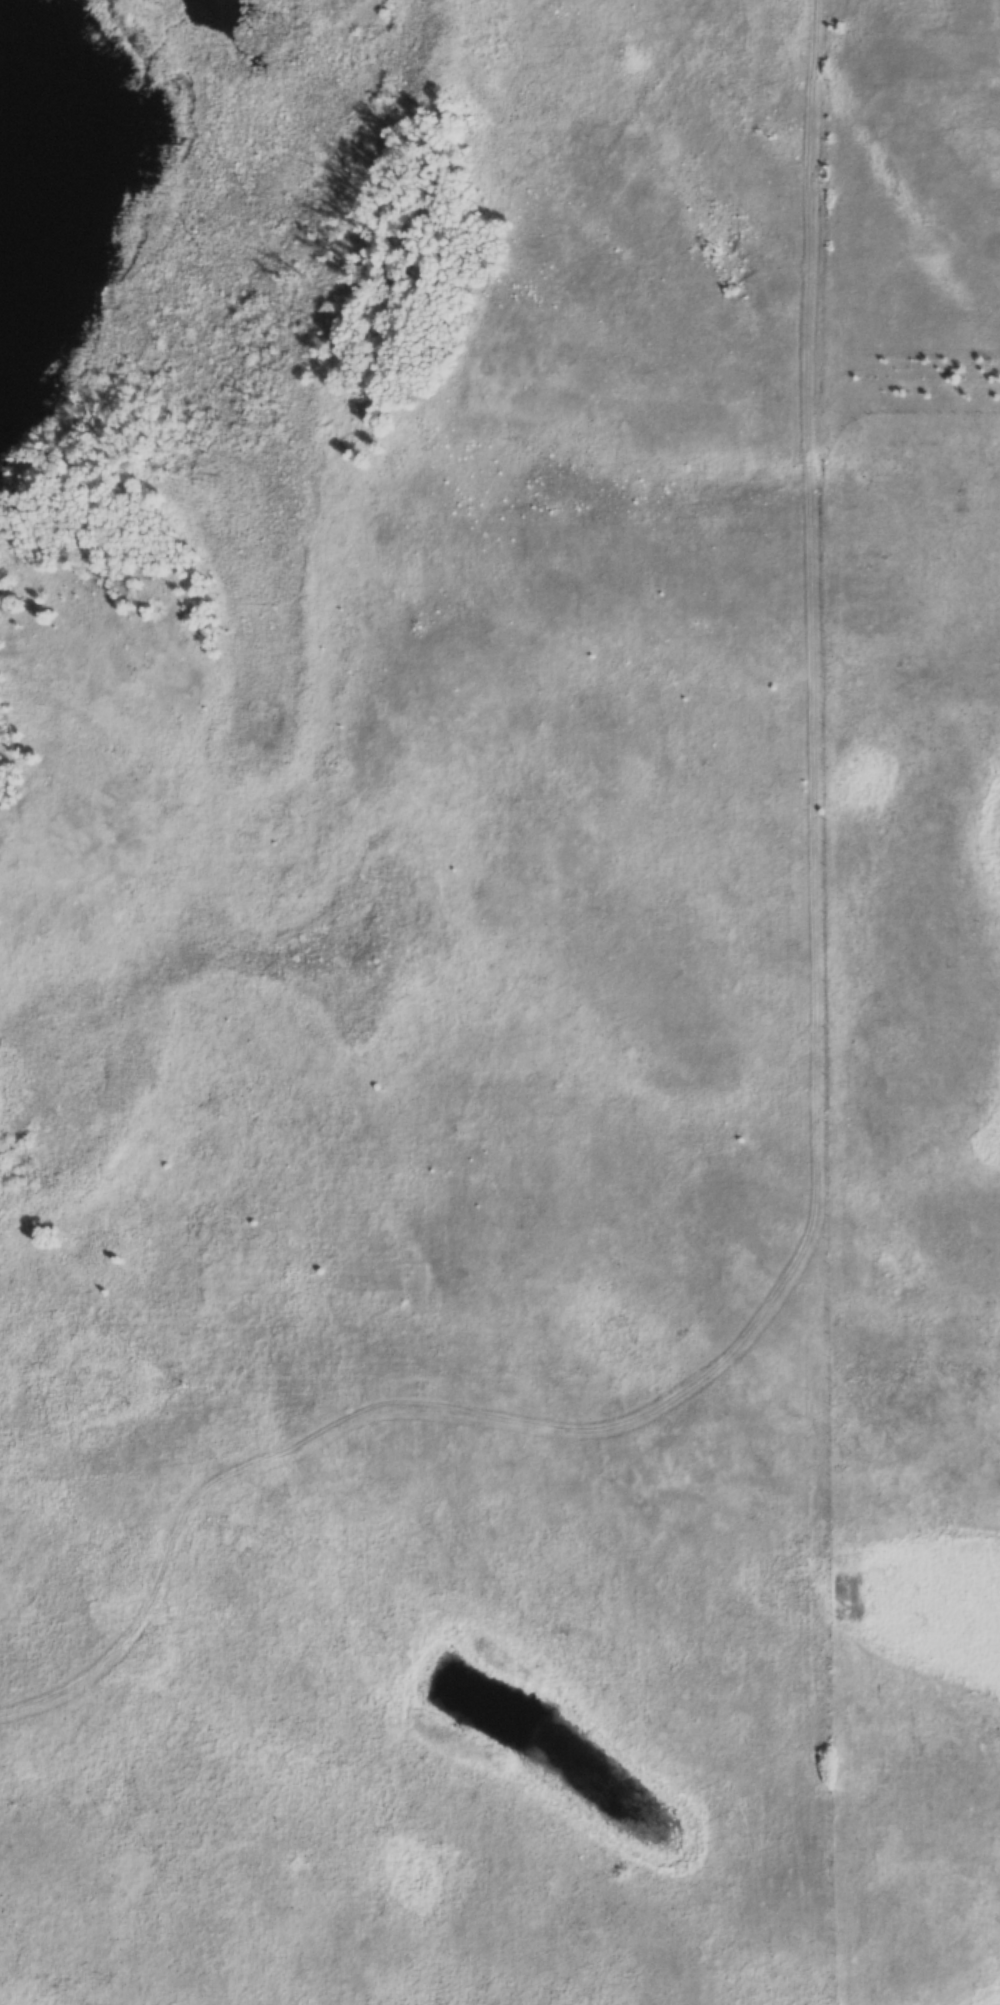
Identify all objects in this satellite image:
road: (826, 1137)

